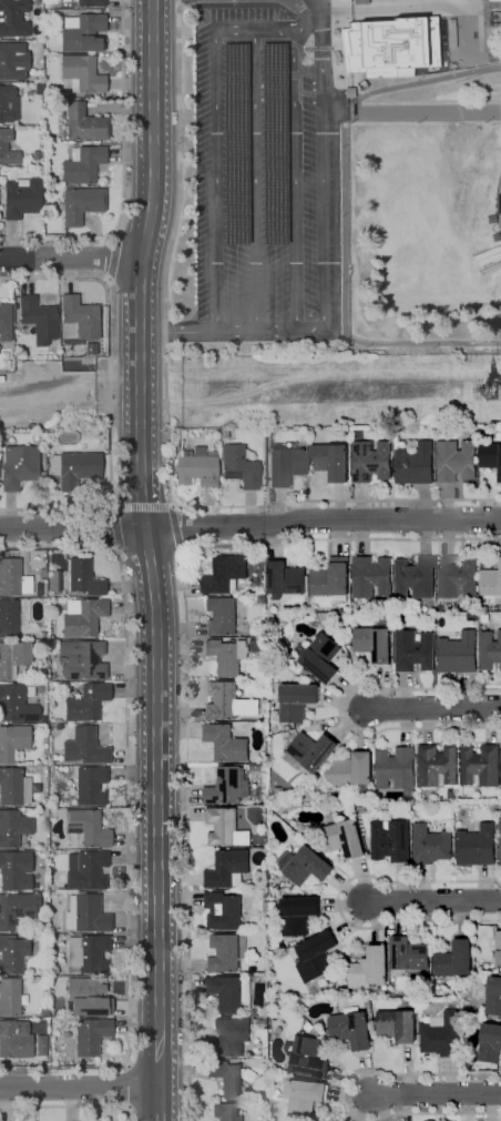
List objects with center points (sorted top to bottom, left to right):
building: (492, 0)
building: (358, 1)
road: (492, 1)
building: (90, 3)
road: (356, 9)
building: (12, 18)
road: (494, 20)
building: (81, 32)
building: (388, 46)
road: (500, 55)
building: (12, 60)
road: (453, 60)
building: (81, 74)
road: (419, 80)
road: (427, 102)
building: (7, 103)
road: (411, 111)
road: (122, 118)
building: (84, 123)
road: (215, 137)
building: (7, 149)
parking lot: (262, 159)
road: (294, 162)
building: (83, 165)
road: (323, 165)
road: (473, 169)
road: (254, 181)
building: (359, 183)
building: (359, 189)
building: (360, 193)
building: (19, 196)
road: (495, 203)
building: (81, 204)
road: (55, 236)
road: (344, 250)
building: (485, 254)
road: (70, 257)
road: (109, 257)
building: (80, 316)
building: (39, 319)
building: (6, 322)
road: (233, 333)
building: (91, 349)
road: (111, 390)
power tower: (500, 392)
road: (168, 416)
building: (176, 436)
building: (491, 456)
building: (331, 461)
building: (371, 461)
building: (457, 461)
building: (416, 462)
building: (285, 465)
building: (19, 466)
building: (198, 466)
building: (238, 466)
building: (73, 468)
road: (337, 501)
road: (360, 501)
road: (423, 502)
road: (446, 502)
road: (140, 506)
road: (276, 506)
road: (208, 507)
road: (248, 508)
road: (109, 525)
road: (250, 526)
road: (183, 528)
road: (146, 542)
building: (226, 574)
building: (372, 576)
building: (458, 576)
building: (13, 577)
building: (84, 577)
building: (333, 577)
building: (416, 578)
building: (286, 579)
building: (54, 582)
building: (491, 584)
building: (262, 598)
building: (244, 599)
building: (82, 616)
building: (222, 616)
building: (8, 618)
building: (377, 640)
building: (490, 650)
building: (415, 652)
building: (459, 654)
building: (227, 656)
building: (13, 658)
building: (83, 658)
building: (323, 658)
road: (184, 675)
road: (381, 687)
road: (405, 690)
road: (466, 690)
road: (355, 695)
building: (223, 700)
building: (296, 700)
building: (86, 701)
road: (341, 701)
building: (16, 704)
building: (253, 706)
road: (340, 709)
road: (431, 709)
road: (347, 724)
road: (489, 726)
road: (427, 727)
road: (403, 728)
road: (362, 730)
building: (12, 741)
building: (226, 743)
building: (84, 746)
building: (311, 753)
building: (18, 754)
building: (438, 765)
building: (481, 766)
building: (397, 768)
building: (354, 774)
building: (91, 785)
building: (13, 786)
building: (228, 786)
building: (279, 789)
building: (378, 795)
building: (361, 809)
road: (127, 811)
building: (13, 827)
building: (88, 827)
building: (226, 828)
building: (500, 830)
building: (344, 839)
building: (392, 840)
building: (432, 845)
building: (478, 846)
building: (306, 865)
building: (228, 869)
building: (14, 870)
building: (85, 870)
road: (361, 880)
road: (400, 882)
road: (423, 883)
road: (483, 883)
road: (346, 890)
road: (338, 901)
road: (341, 903)
road: (431, 903)
building: (14, 909)
building: (224, 911)
building: (86, 913)
building: (299, 915)
road: (401, 920)
road: (351, 921)
road: (461, 921)
road: (377, 925)
building: (499, 949)
building: (88, 952)
building: (12, 953)
building: (225, 953)
building: (409, 955)
building: (317, 957)
building: (456, 960)
building: (370, 969)
building: (413, 974)
building: (462, 984)
building: (231, 993)
building: (10, 997)
building: (86, 997)
building: (494, 997)
building: (43, 1011)
building: (256, 1012)
building: (262, 1020)
building: (438, 1020)
building: (275, 1023)
building: (398, 1026)
building: (309, 1027)
building: (352, 1030)
building: (88, 1034)
building: (442, 1037)
building: (229, 1038)
building: (14, 1039)
building: (490, 1043)
building: (40, 1044)
building: (308, 1057)
road: (438, 1064)
road: (407, 1068)
road: (364, 1071)
road: (449, 1075)
building: (231, 1078)
road: (347, 1081)
road: (79, 1084)
road: (125, 1087)
road: (345, 1093)
road: (432, 1093)
road: (342, 1094)
building: (301, 1098)
road: (159, 1103)
road: (69, 1107)
road: (357, 1107)
road: (384, 1107)
road: (403, 1107)
road: (467, 1107)
road: (490, 1108)
building: (226, 1111)
road: (498, 1117)

